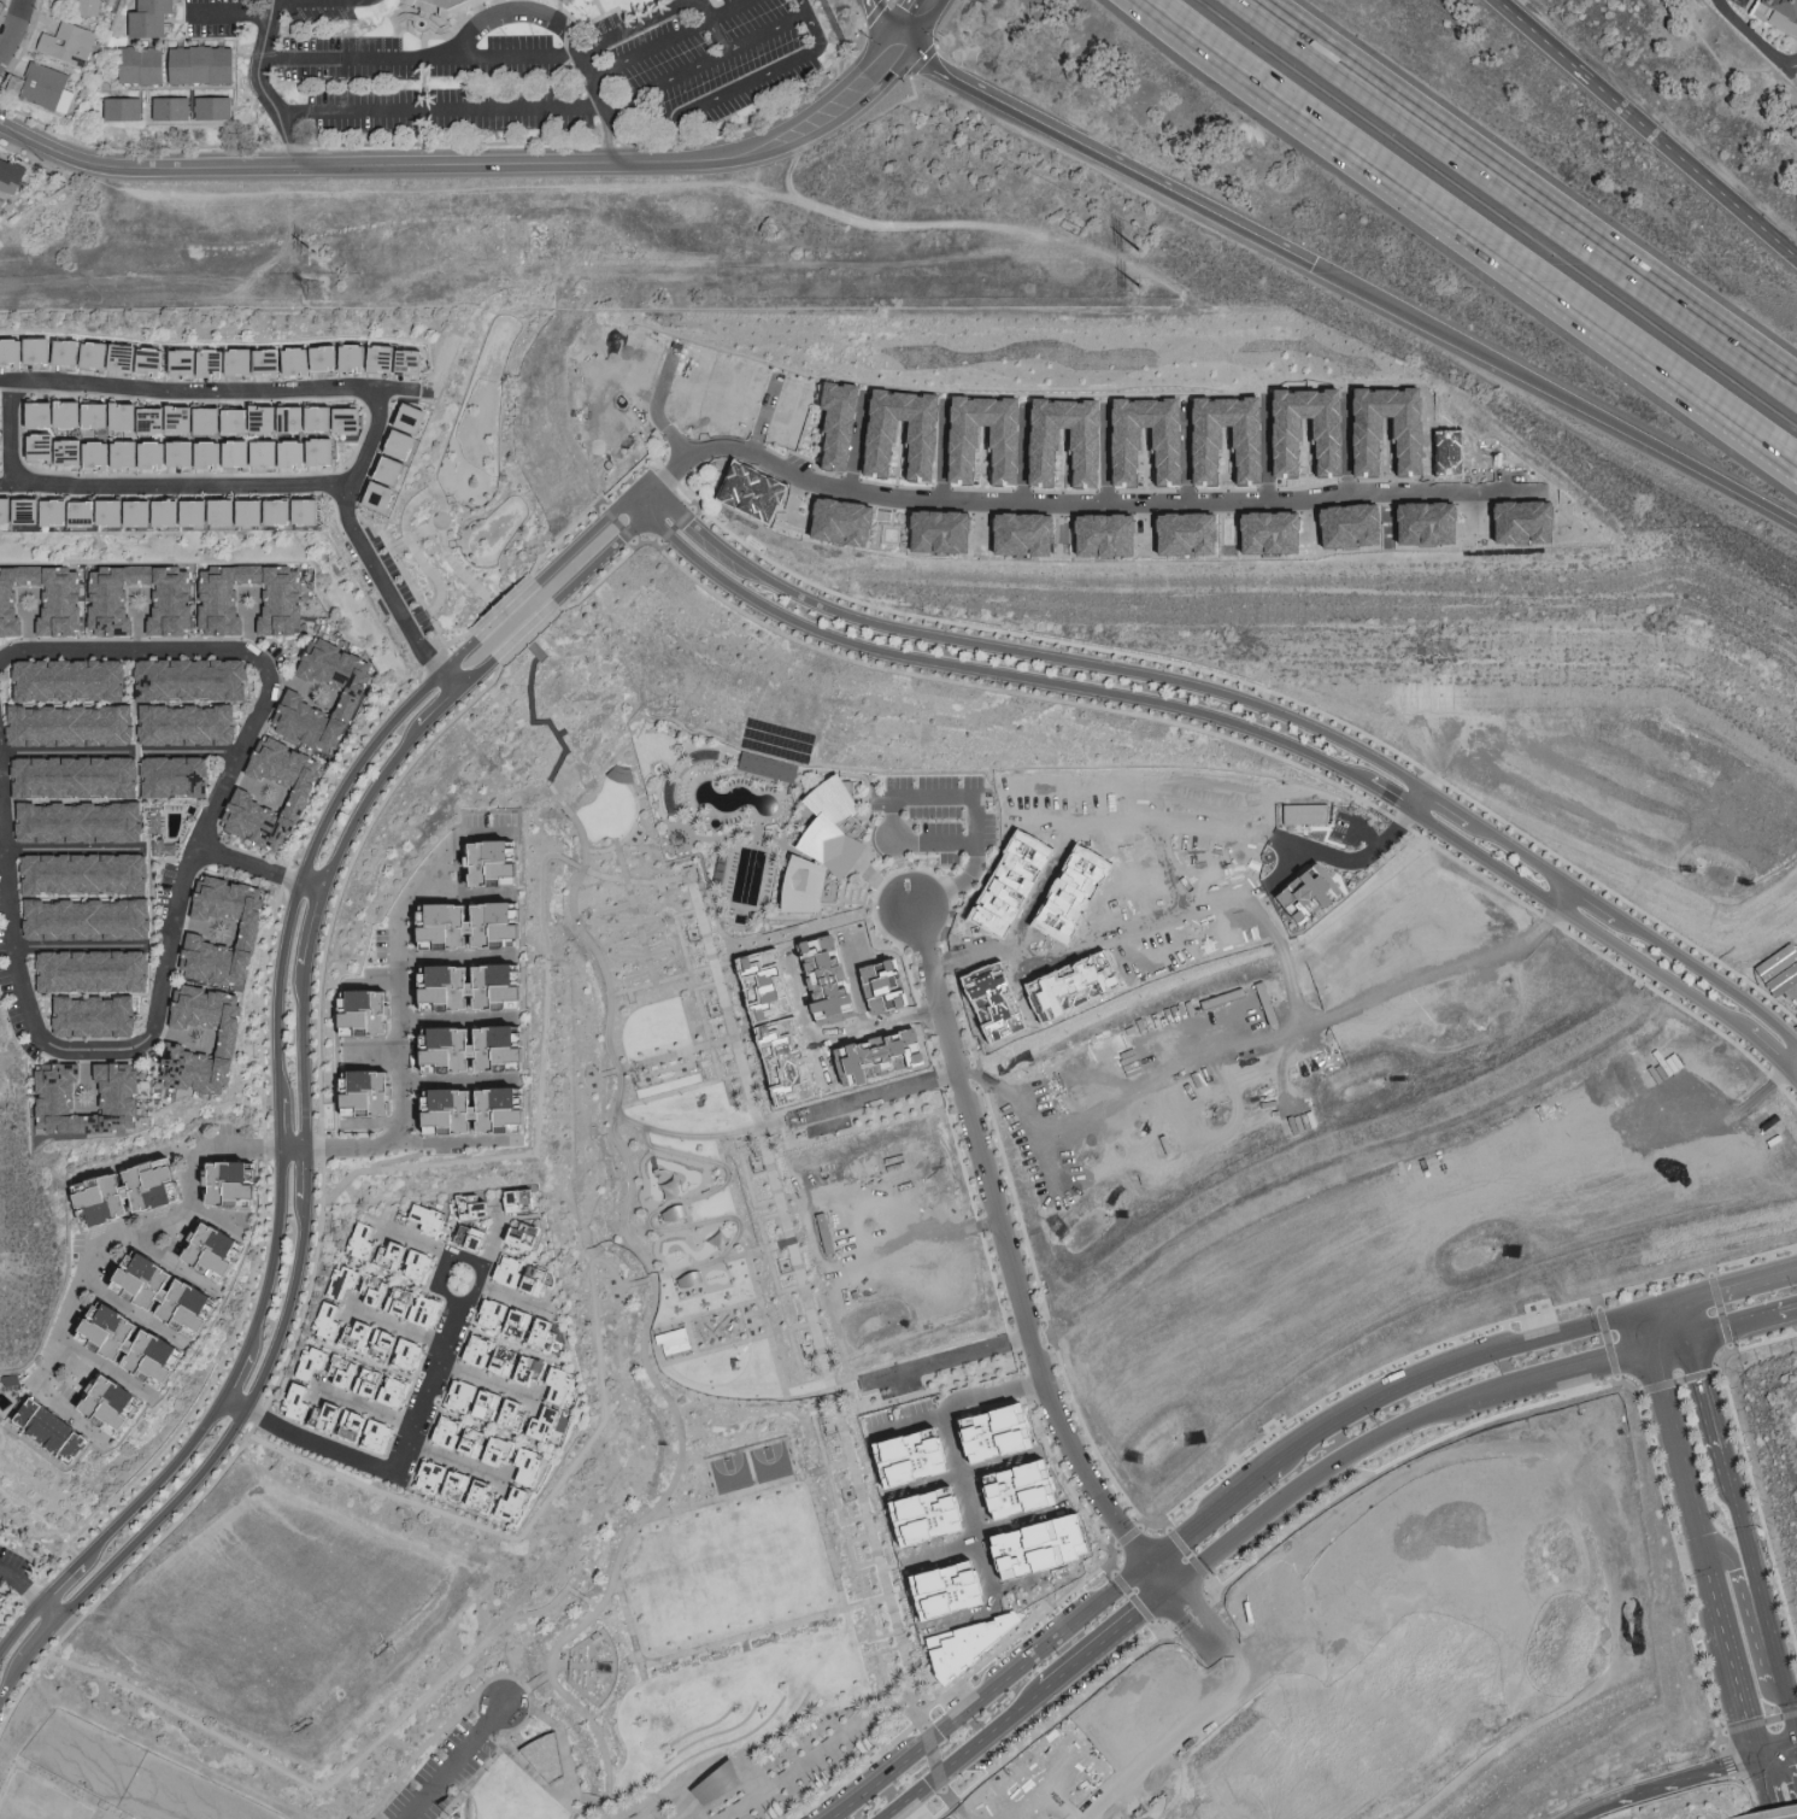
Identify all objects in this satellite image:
road: (316, 2)
building: (434, 2)
parking lot: (1740, 2)
building: (89, 6)
road: (729, 8)
building: (1783, 8)
road: (228, 13)
building: (154, 17)
road: (889, 24)
road: (916, 24)
road: (16, 33)
road: (757, 34)
road: (566, 36)
road: (855, 36)
road: (1754, 36)
building: (70, 42)
road: (650, 47)
traffic signals: (902, 48)
road: (495, 55)
building: (183, 63)
road: (1793, 68)
road: (1578, 72)
road: (765, 74)
building: (43, 86)
road: (262, 86)
building: (175, 106)
building: (217, 106)
building: (127, 107)
road: (509, 107)
road: (1105, 158)
road: (465, 165)
building: (11, 174)
road: (1520, 192)
road: (1731, 201)
road: (1470, 237)
power tower: (317, 251)
power tower: (1157, 254)
power tower: (1157, 292)
power tower: (319, 293)
building: (28, 350)
building: (72, 351)
building: (100, 353)
building: (128, 356)
building: (330, 357)
building: (359, 357)
building: (388, 357)
building: (303, 359)
building: (155, 360)
building: (216, 360)
building: (272, 360)
building: (417, 360)
road: (5, 381)
road: (141, 385)
road: (393, 389)
road: (1552, 398)
building: (2, 403)
building: (77, 412)
building: (48, 413)
building: (105, 413)
building: (133, 415)
building: (421, 416)
road: (658, 416)
building: (272, 417)
building: (301, 417)
building: (329, 417)
building: (189, 418)
building: (357, 418)
building: (162, 419)
building: (217, 419)
building: (245, 419)
building: (827, 423)
building: (2, 432)
building: (974, 439)
building: (411, 442)
road: (364, 445)
building: (329, 450)
building: (78, 451)
building: (134, 452)
building: (190, 452)
building: (246, 452)
building: (274, 452)
building: (303, 452)
building: (106, 453)
building: (163, 453)
building: (218, 453)
building: (1158, 457)
building: (2, 459)
building: (401, 469)
road: (8, 481)
road: (176, 485)
building: (747, 491)
building: (389, 494)
road: (422, 495)
road: (1058, 497)
road: (633, 503)
road: (652, 503)
building: (10, 509)
building: (36, 509)
building: (301, 510)
building: (64, 511)
building: (134, 511)
building: (204, 511)
building: (231, 511)
building: (260, 511)
building: (829, 521)
building: (1263, 530)
road: (418, 532)
building: (928, 532)
building: (1012, 533)
building: (1175, 533)
building: (1093, 534)
road: (405, 565)
road: (535, 574)
parking lot: (405, 583)
road: (377, 585)
building: (286, 593)
building: (65, 594)
road: (487, 594)
building: (175, 598)
road: (542, 600)
road: (425, 634)
road: (1021, 650)
road: (992, 670)
building: (198, 677)
building: (75, 679)
road: (437, 683)
building: (301, 702)
building: (193, 723)
building: (76, 724)
road: (560, 733)
building: (768, 767)
building: (116, 775)
road: (929, 794)
road: (1387, 794)
road: (1415, 797)
building: (251, 800)
road: (1445, 802)
building: (835, 806)
road: (1607, 817)
building: (86, 821)
building: (832, 846)
building: (166, 847)
road: (1515, 850)
road: (1357, 857)
road: (311, 858)
building: (505, 864)
road: (252, 866)
road: (1173, 867)
building: (90, 875)
road: (1267, 878)
road: (674, 880)
road: (548, 881)
road: (313, 885)
road: (412, 886)
building: (803, 887)
road: (1041, 890)
road: (1558, 891)
road: (1591, 897)
road: (182, 898)
road: (456, 899)
road: (319, 900)
road: (639, 914)
road: (1578, 917)
building: (94, 919)
road: (646, 919)
building: (481, 926)
building: (258, 928)
road: (681, 932)
road: (80, 945)
road: (457, 953)
road: (1447, 967)
building: (99, 969)
road: (1708, 975)
road: (663, 981)
road: (1021, 984)
road: (858, 986)
building: (486, 987)
building: (1791, 998)
building: (371, 1011)
road: (457, 1015)
building: (100, 1016)
road: (805, 1022)
road: (706, 1025)
road: (875, 1026)
building: (239, 1034)
building: (489, 1049)
road: (1769, 1050)
road: (374, 1054)
road: (669, 1060)
park: (674, 1062)
road: (398, 1064)
road: (1793, 1066)
park: (657, 1068)
road: (1793, 1074)
road: (459, 1078)
park: (671, 1085)
road: (1138, 1086)
road: (280, 1087)
building: (383, 1090)
road: (682, 1092)
road: (874, 1095)
building: (61, 1103)
building: (487, 1111)
road: (1725, 1122)
road: (281, 1123)
road: (762, 1133)
road: (448, 1137)
road: (703, 1137)
road: (522, 1154)
road: (200, 1156)
road: (627, 1157)
road: (307, 1174)
building: (242, 1185)
building: (142, 1191)
building: (522, 1201)
building: (480, 1207)
road: (219, 1217)
building: (433, 1217)
road: (305, 1219)
building: (527, 1236)
building: (477, 1237)
road: (491, 1239)
building: (360, 1240)
road: (1006, 1244)
road: (421, 1246)
building: (223, 1250)
road: (276, 1250)
road: (771, 1252)
road: (181, 1258)
road: (723, 1258)
building: (409, 1261)
building: (525, 1273)
road: (476, 1274)
road: (393, 1278)
road: (640, 1280)
road: (1739, 1283)
road: (77, 1285)
building: (359, 1285)
building: (182, 1296)
road: (513, 1301)
road: (137, 1303)
building: (419, 1305)
road: (1657, 1305)
road: (1686, 1319)
building: (329, 1320)
road: (299, 1322)
road: (1744, 1322)
building: (524, 1324)
road: (769, 1326)
road: (397, 1328)
road: (1639, 1332)
building: (676, 1336)
park: (599, 1338)
building: (384, 1343)
building: (142, 1344)
road: (1668, 1344)
road: (709, 1348)
building: (482, 1351)
road: (106, 1360)
road: (935, 1362)
building: (321, 1363)
road: (1447, 1369)
building: (544, 1373)
road: (237, 1374)
building: (356, 1375)
road: (1555, 1379)
road: (486, 1381)
building: (389, 1386)
building: (465, 1395)
road: (730, 1400)
building: (121, 1403)
road: (72, 1404)
building: (497, 1404)
road: (953, 1406)
road: (369, 1409)
building: (519, 1414)
building: (340, 1418)
building: (551, 1422)
road: (841, 1425)
building: (63, 1428)
building: (453, 1431)
building: (994, 1433)
building: (481, 1442)
road: (745, 1448)
road: (218, 1450)
building: (906, 1459)
building: (523, 1460)
road: (454, 1461)
park: (770, 1462)
road: (994, 1462)
road: (751, 1467)
road: (828, 1468)
road: (394, 1471)
park: (732, 1473)
road: (158, 1480)
road: (779, 1480)
road: (1683, 1480)
building: (463, 1486)
road: (1310, 1486)
road: (922, 1488)
building: (1011, 1490)
building: (519, 1506)
road: (863, 1506)
road: (965, 1508)
road: (540, 1513)
road: (1215, 1513)
building: (922, 1518)
road: (1744, 1518)
road: (1014, 1522)
building: (1, 1525)
building: (1038, 1548)
road: (939, 1549)
road: (147, 1551)
road: (867, 1562)
traffic signals: (1150, 1562)
road: (1159, 1577)
road: (1030, 1579)
road: (63, 1580)
road: (20, 1585)
building: (941, 1588)
road: (861, 1589)
traffic signals: (1170, 1592)
building: (1, 1595)
road: (585, 1596)
road: (842, 1598)
road: (51, 1610)
road: (595, 1614)
road: (957, 1618)
road: (1754, 1619)
road: (629, 1624)
road: (1215, 1624)
road: (20, 1625)
road: (762, 1631)
road: (42, 1641)
road: (1108, 1642)
road: (745, 1643)
building: (965, 1644)
road: (903, 1649)
road: (881, 1665)
road: (16, 1673)
road: (1738, 1682)
road: (987, 1690)
road: (4, 1692)
road: (18, 1697)
road: (530, 1713)
road: (1793, 1714)
road: (720, 1719)
road: (742, 1721)
road: (762, 1724)
road: (594, 1729)
road: (434, 1736)
road: (679, 1738)
road: (566, 1743)
road: (691, 1743)
road: (1777, 1745)
road: (1169, 1748)
traffic signals: (1756, 1751)
road: (693, 1754)
road: (965, 1755)
building: (545, 1758)
road: (452, 1760)
road: (1675, 1774)
road: (471, 1782)
building: (717, 1782)
road: (544, 1784)
road: (329, 1785)
road: (1764, 1785)
road: (601, 1800)
road: (1579, 1809)

